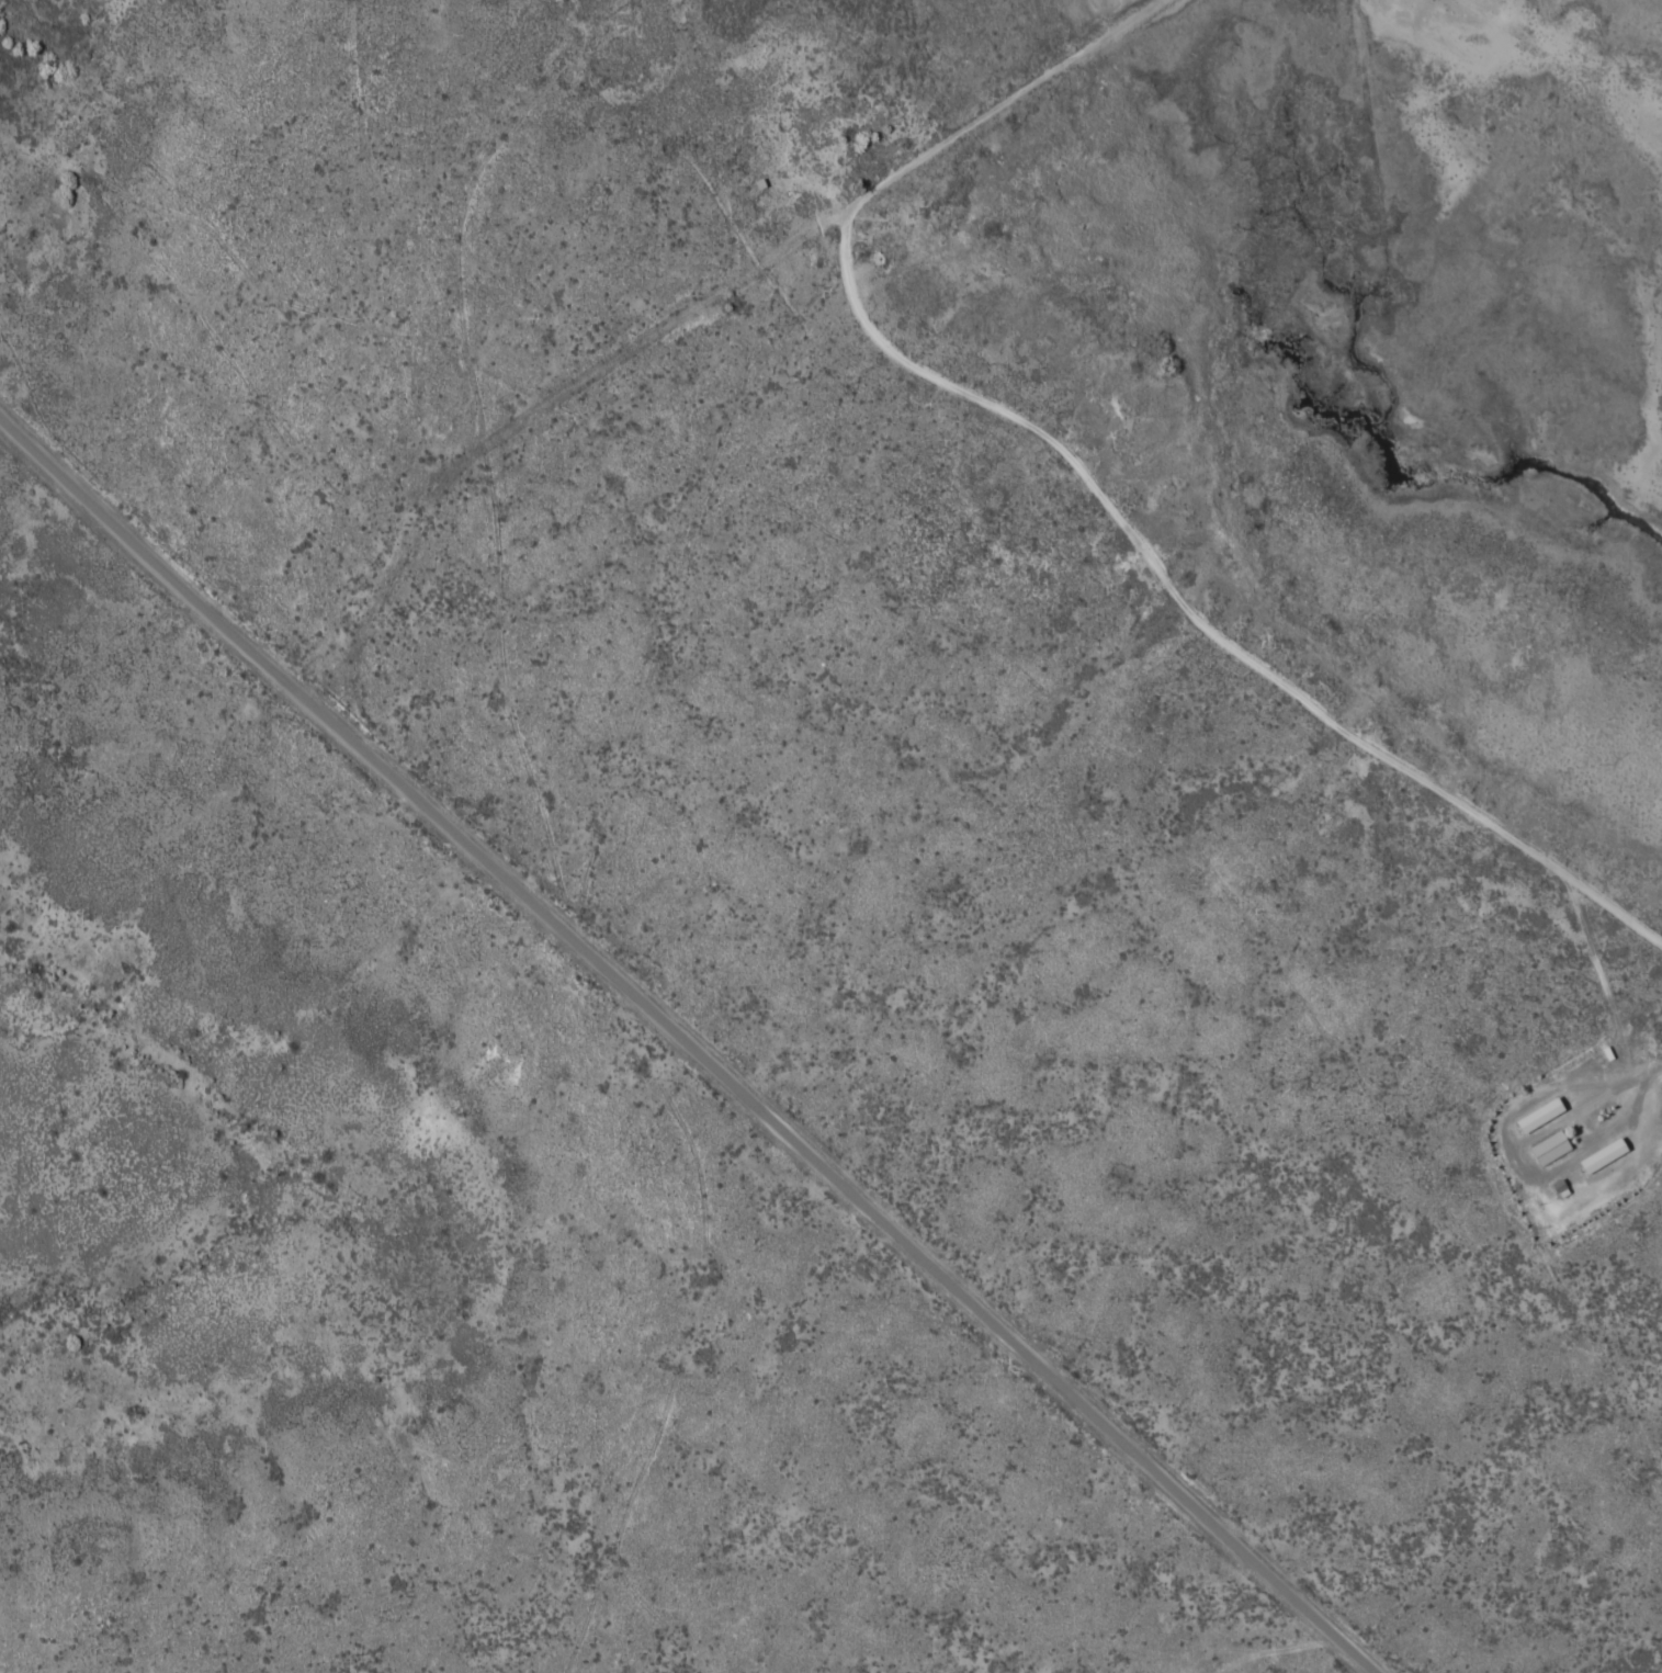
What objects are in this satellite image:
road: (663, 466)
road: (1271, 592)
road: (983, 925)
road: (693, 1038)
road: (1643, 1073)
building: (1549, 1146)

